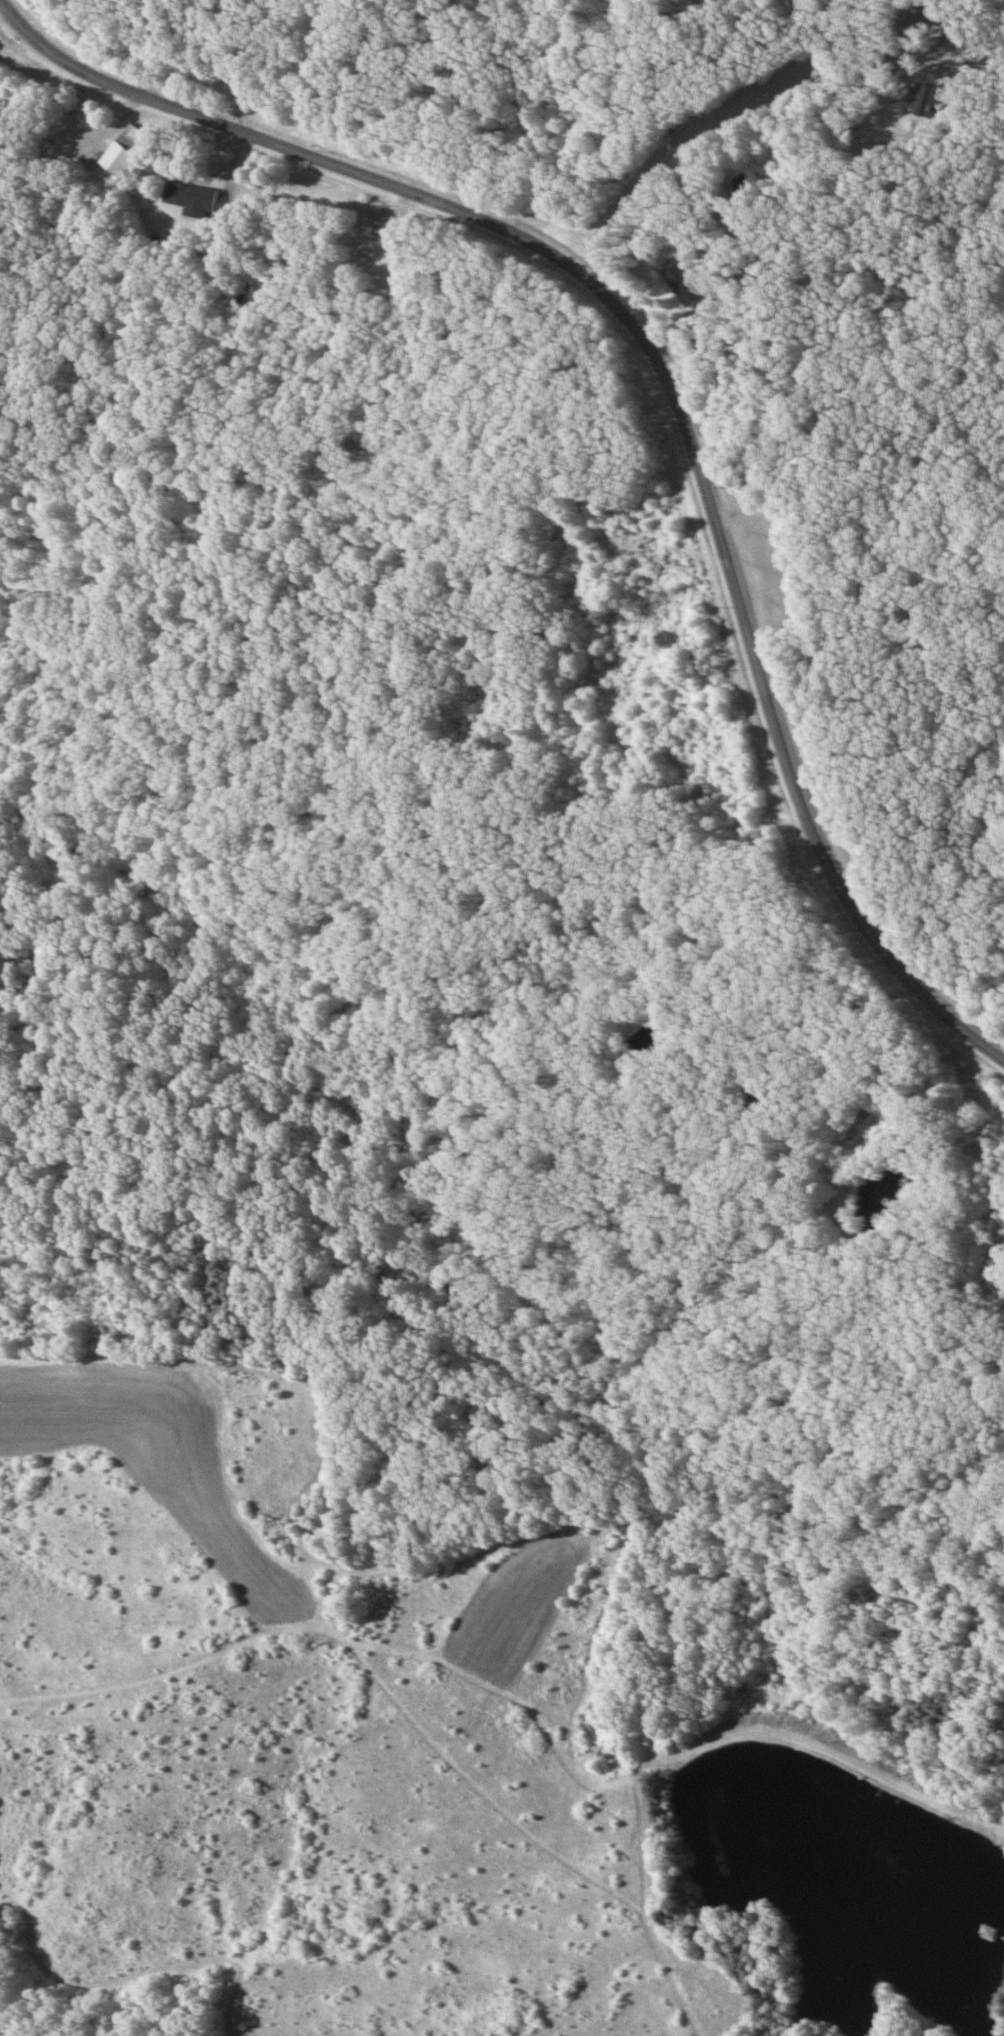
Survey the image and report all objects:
building: (918, 22)
building: (933, 94)
building: (125, 151)
building: (191, 199)
road: (790, 222)
building: (377, 247)
road: (669, 375)
road: (789, 1031)

